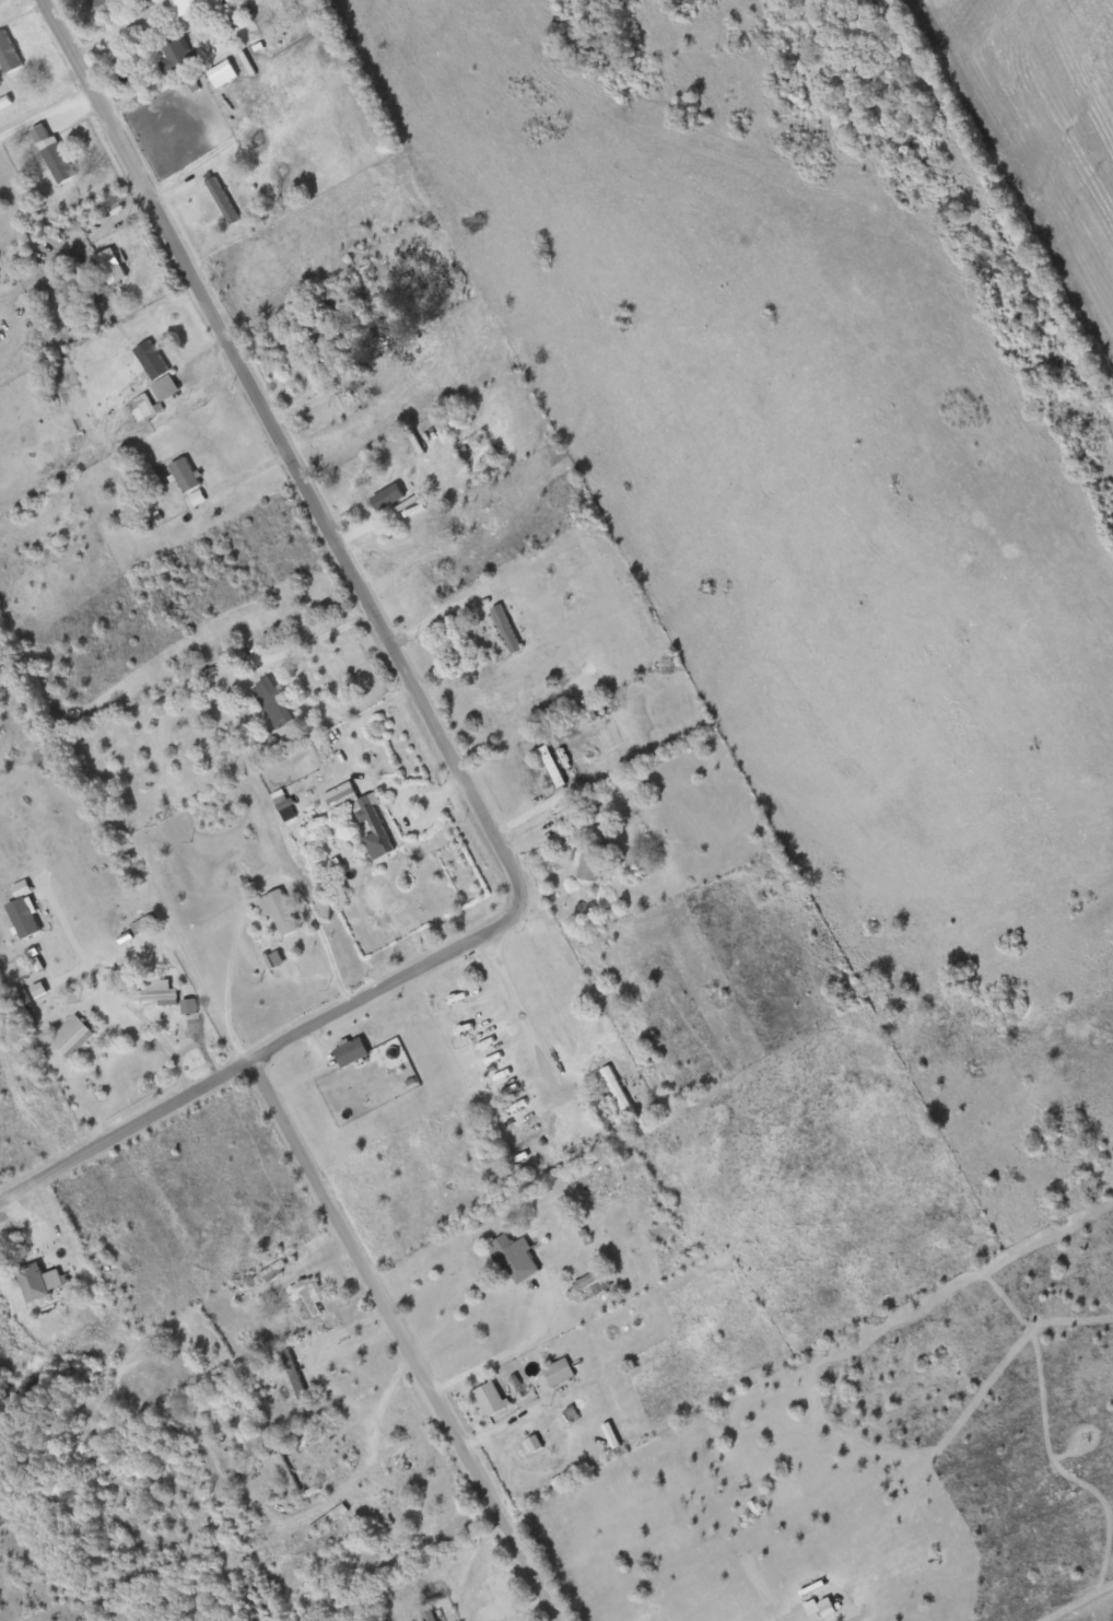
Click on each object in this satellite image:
building: (187, 5)
building: (9, 53)
building: (175, 55)
building: (59, 162)
building: (223, 200)
building: (112, 266)
building: (432, 273)
building: (326, 340)
building: (386, 340)
building: (159, 369)
building: (147, 405)
building: (187, 474)
road: (303, 474)
building: (395, 500)
building: (506, 628)
building: (276, 702)
building: (594, 712)
building: (553, 766)
building: (283, 802)
building: (379, 829)
building: (591, 861)
building: (161, 867)
road: (253, 890)
building: (417, 909)
building: (281, 911)
building: (273, 959)
building: (157, 991)
road: (526, 1007)
building: (73, 1035)
road: (161, 1039)
road: (202, 1050)
building: (353, 1050)
road: (242, 1068)
building: (617, 1089)
road: (78, 1094)
building: (595, 1188)
building: (517, 1258)
building: (40, 1280)
building: (593, 1283)
building: (308, 1296)
road: (399, 1343)
road: (504, 1351)
building: (556, 1371)
building: (294, 1373)
building: (513, 1378)
building: (488, 1398)
building: (532, 1442)
building: (286, 1472)
building: (394, 1512)
building: (305, 1535)
building: (427, 1611)
building: (663, 1619)

